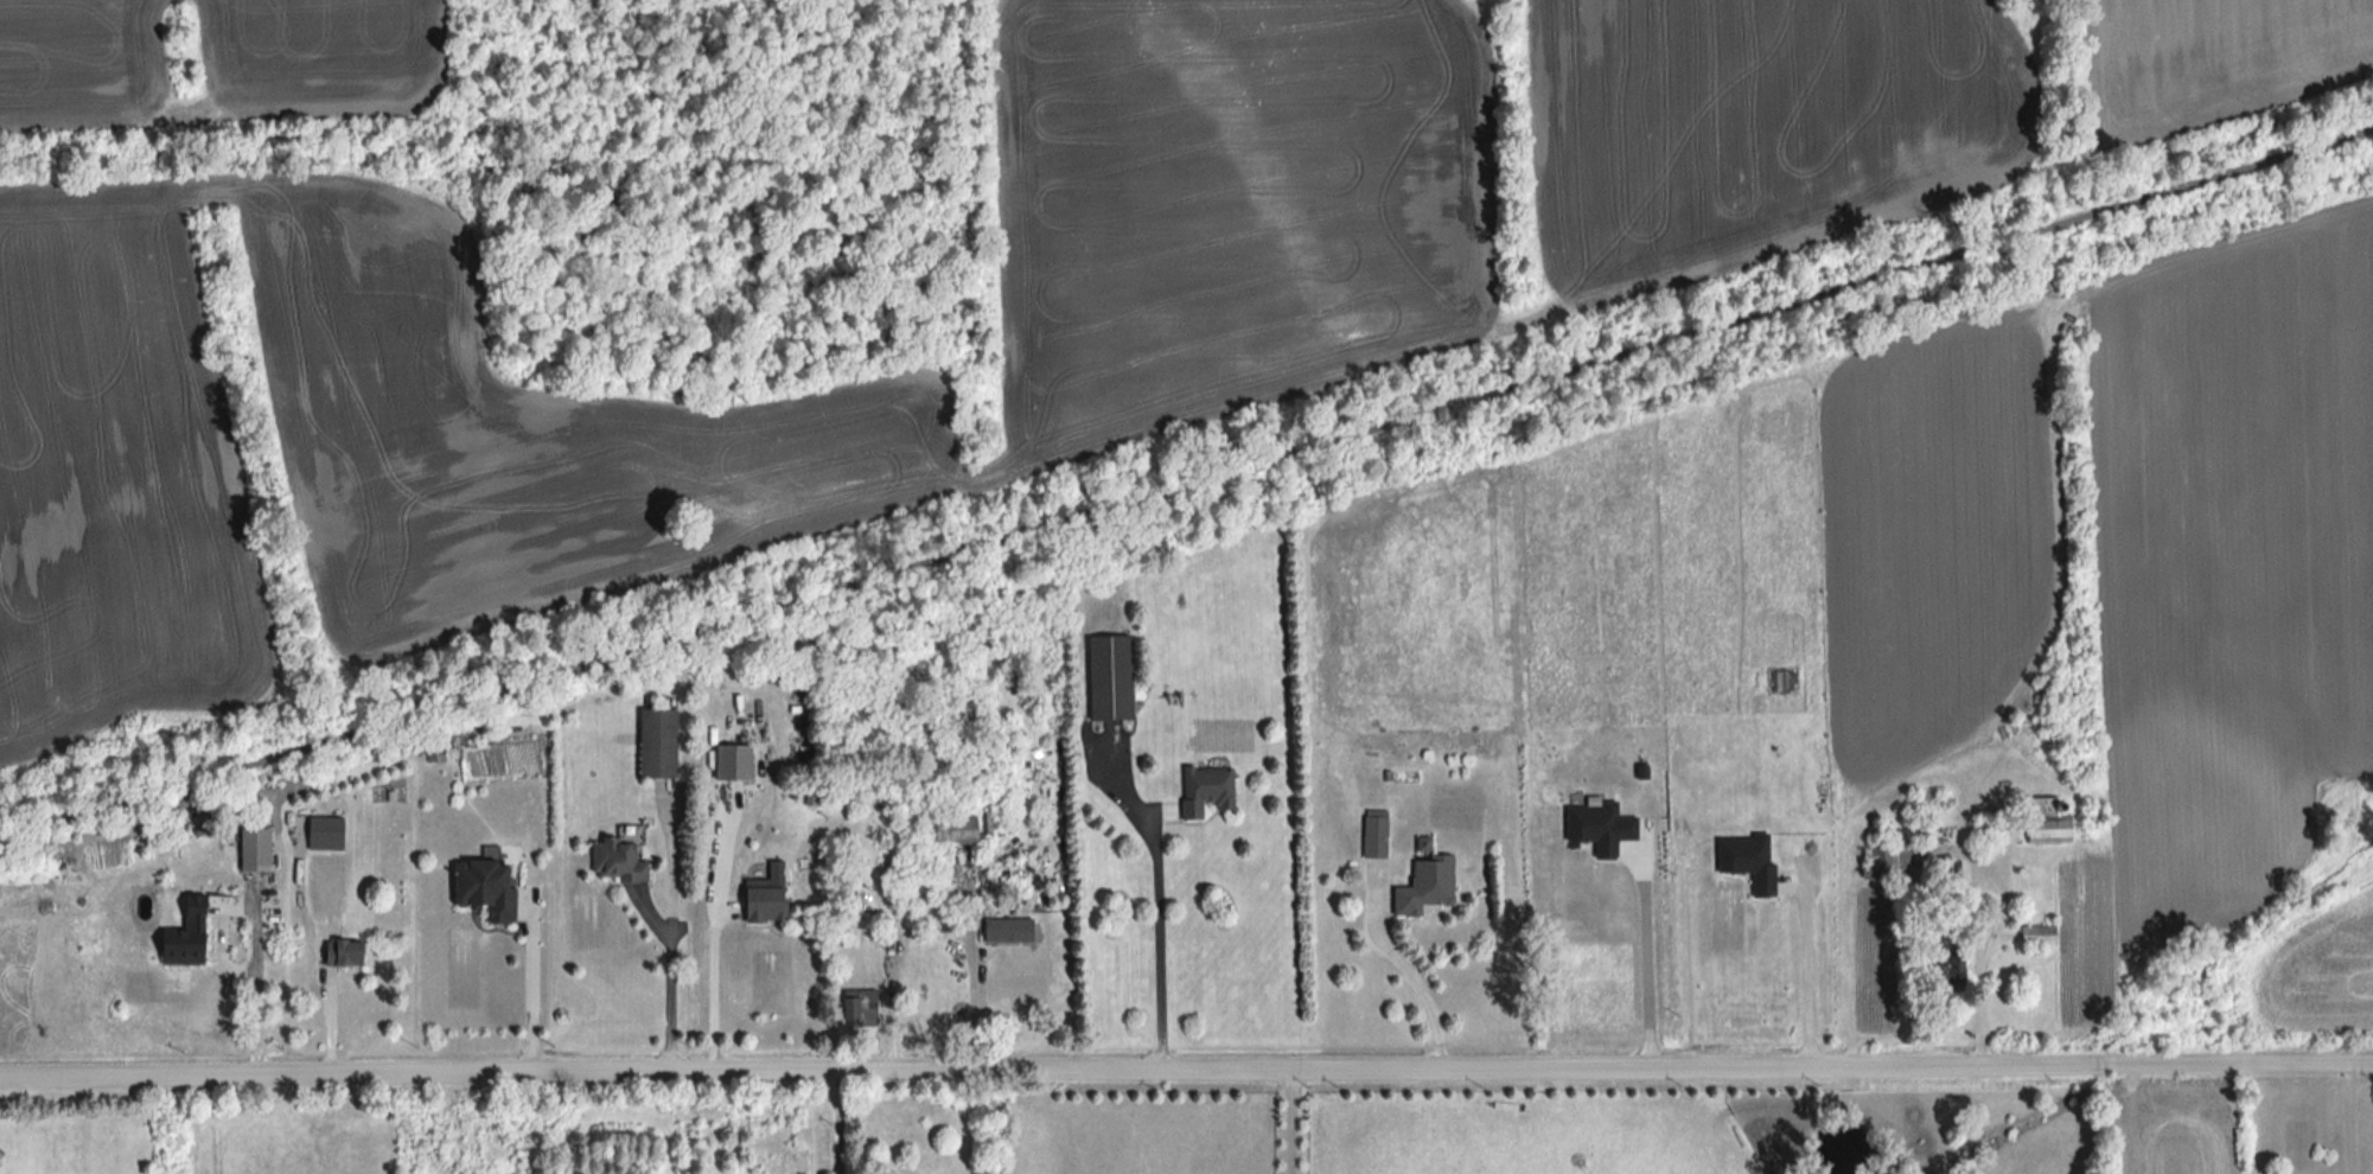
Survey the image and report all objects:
crop: (321, 56)
crop: (2216, 57)
crop: (77, 65)
crop: (1758, 126)
crop: (1230, 204)
crop: (349, 453)
road: (1186, 485)
crop: (2237, 543)
building: (1106, 678)
building: (652, 745)
building: (1204, 792)
building: (2024, 827)
building: (1372, 834)
building: (933, 835)
building: (250, 850)
building: (612, 860)
building: (1421, 887)
building: (480, 889)
road: (1156, 898)
building: (755, 905)
road: (671, 929)
building: (1003, 931)
building: (2034, 936)
building: (177, 937)
building: (340, 953)
road: (1652, 968)
road: (1410, 969)
building: (1952, 970)
crop: (2321, 972)
road: (1813, 989)
road: (531, 998)
road: (714, 1000)
road: (255, 1003)
building: (853, 1006)
road: (971, 1010)
road: (2254, 1064)
road: (2114, 1065)
road: (1046, 1073)
road: (2348, 1118)
road: (1296, 1123)
road: (838, 1124)
road: (213, 1127)
crop: (2183, 1127)

